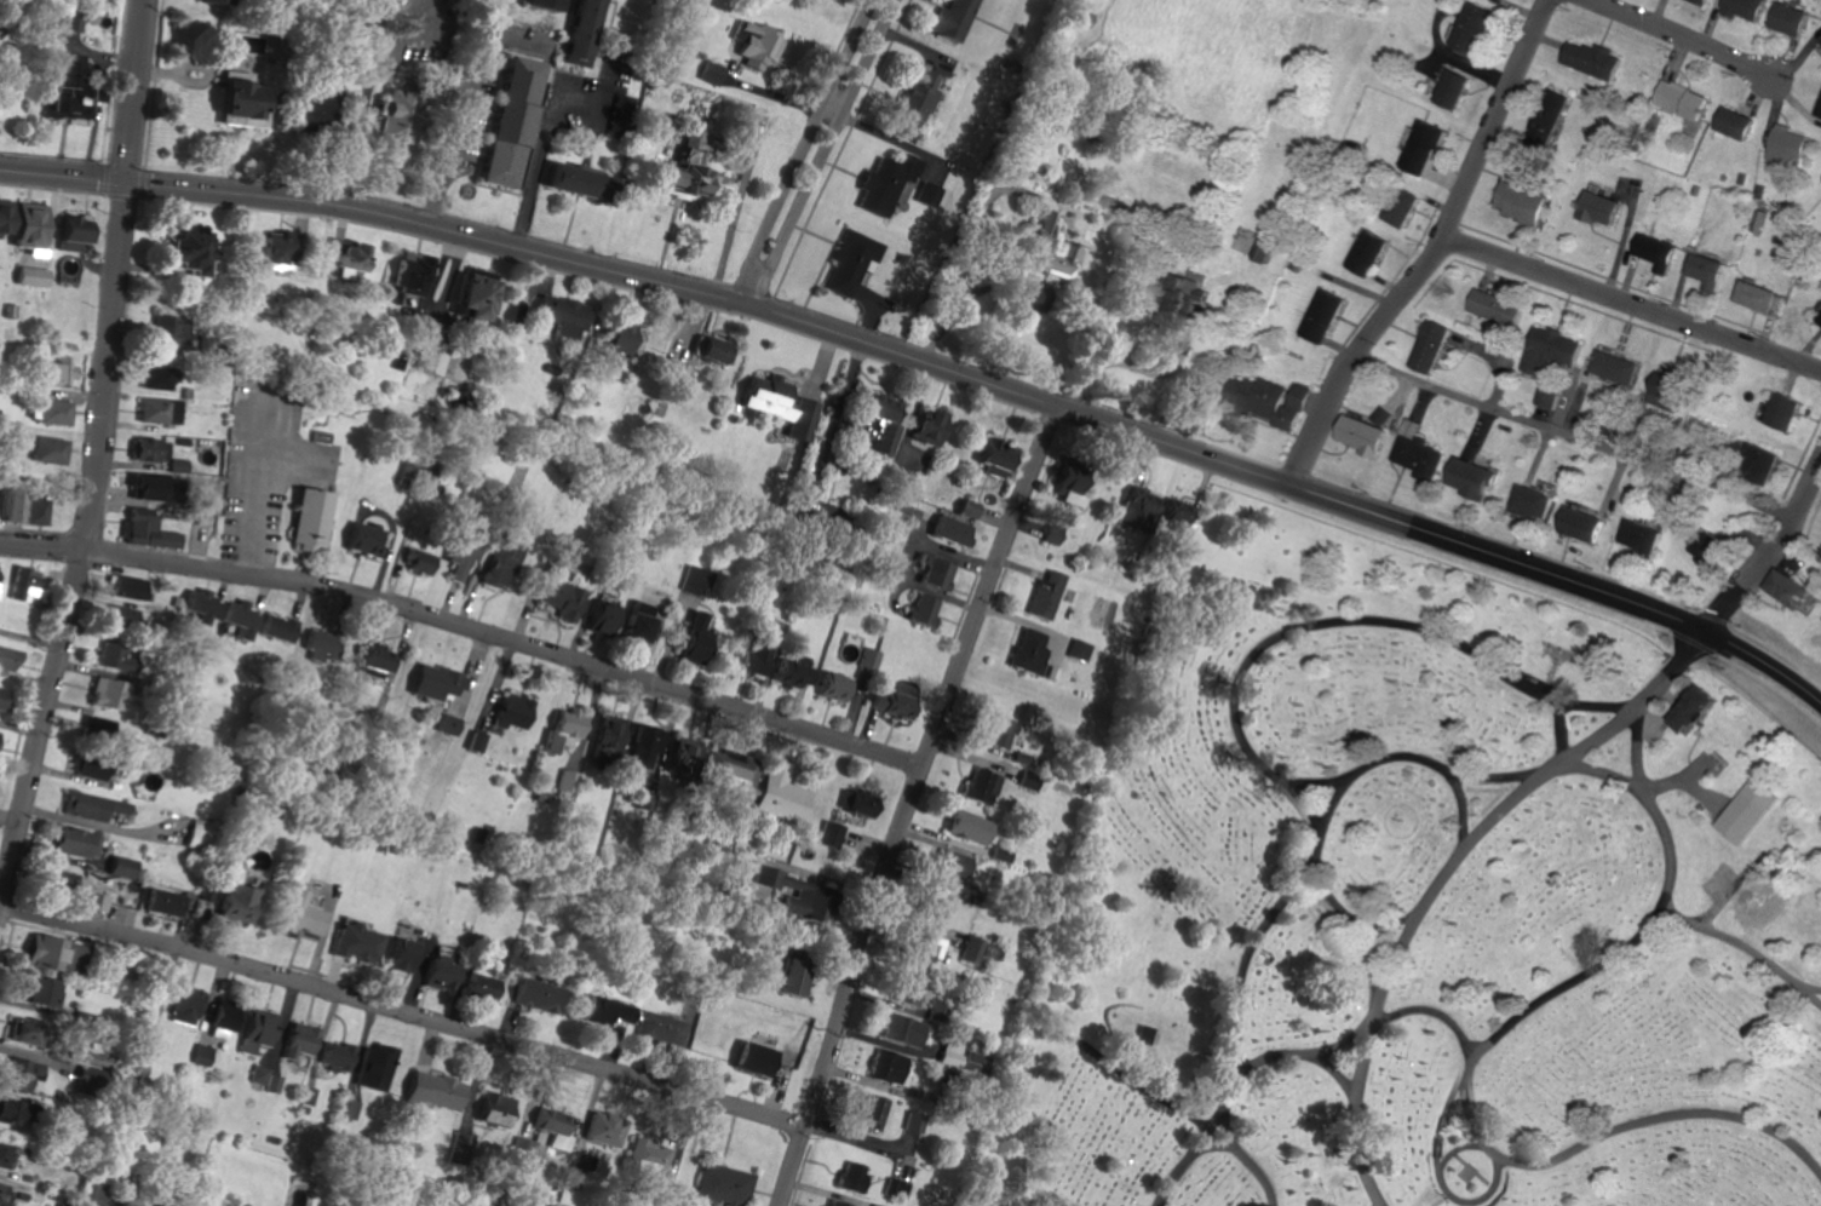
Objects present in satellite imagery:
building: (216, 0)
building: (1700, 1)
building: (536, 4)
building: (1744, 8)
building: (1076, 17)
building: (949, 19)
building: (1790, 19)
building: (68, 22)
building: (1469, 30)
building: (571, 31)
building: (749, 41)
road: (515, 42)
road: (1681, 42)
building: (1591, 59)
building: (705, 71)
building: (58, 88)
building: (1448, 90)
road: (136, 91)
building: (619, 97)
building: (912, 97)
building: (1681, 99)
building: (301, 108)
road: (832, 111)
building: (1819, 111)
building: (385, 114)
road: (459, 114)
building: (1547, 115)
building: (504, 119)
building: (1735, 124)
building: (1787, 147)
building: (1418, 148)
road: (804, 151)
road: (823, 153)
building: (677, 165)
road: (534, 170)
building: (562, 178)
building: (881, 182)
building: (925, 194)
building: (1520, 202)
building: (1397, 206)
building: (1599, 207)
building: (1, 213)
building: (22, 224)
building: (64, 231)
building: (179, 246)
building: (265, 247)
building: (1044, 247)
building: (1258, 251)
road: (1435, 251)
building: (1655, 251)
building: (1363, 252)
building: (341, 257)
building: (849, 260)
building: (1705, 269)
building: (404, 271)
building: (29, 276)
building: (466, 294)
building: (1753, 295)
building: (1171, 301)
road: (1632, 304)
building: (1492, 308)
building: (556, 314)
building: (1321, 315)
building: (1819, 318)
building: (165, 332)
building: (610, 335)
road: (864, 341)
building: (1426, 345)
building: (705, 348)
building: (1546, 349)
road: (1121, 360)
building: (1613, 367)
building: (56, 372)
building: (680, 372)
building: (153, 375)
building: (1659, 387)
building: (1544, 398)
building: (1266, 400)
building: (777, 404)
building: (150, 409)
building: (51, 410)
building: (172, 410)
building: (1780, 412)
building: (1380, 415)
building: (872, 420)
building: (924, 425)
building: (1360, 435)
building: (317, 437)
road: (1574, 438)
building: (46, 449)
building: (147, 449)
building: (990, 456)
building: (1418, 456)
building: (1757, 463)
building: (178, 465)
building: (897, 477)
building: (1467, 477)
building: (143, 487)
building: (1067, 487)
building: (1529, 502)
building: (10, 504)
building: (966, 507)
building: (1130, 507)
building: (35, 510)
building: (1171, 513)
building: (304, 517)
building: (1580, 524)
building: (138, 526)
building: (948, 529)
building: (1051, 533)
building: (1639, 536)
building: (358, 538)
building: (166, 539)
building: (1705, 545)
building: (455, 555)
road: (1768, 555)
road: (86, 561)
building: (412, 561)
building: (495, 562)
building: (934, 573)
building: (690, 579)
building: (21, 584)
building: (126, 586)
building: (1785, 588)
building: (1046, 595)
building: (557, 599)
building: (197, 604)
building: (921, 609)
building: (120, 616)
building: (594, 616)
building: (239, 620)
building: (630, 622)
building: (274, 627)
road: (466, 630)
building: (689, 636)
building: (312, 643)
flagpole: (1552, 643)
flagpole: (1561, 645)
flagpole: (1569, 648)
building: (1081, 649)
building: (1029, 650)
building: (752, 655)
building: (110, 656)
building: (7, 657)
building: (868, 659)
building: (367, 660)
building: (787, 672)
road: (1662, 678)
building: (432, 680)
road: (1762, 683)
building: (832, 687)
building: (100, 693)
building: (1, 696)
building: (887, 700)
building: (1699, 710)
building: (510, 711)
road: (23, 722)
building: (94, 724)
building: (447, 724)
building: (558, 728)
building: (994, 730)
road: (1563, 734)
building: (599, 735)
building: (473, 741)
building: (639, 745)
building: (676, 752)
road: (1413, 759)
road: (1263, 760)
building: (88, 766)
road: (1605, 775)
building: (722, 777)
building: (1028, 780)
building: (563, 781)
building: (980, 786)
building: (777, 796)
building: (854, 802)
road: (909, 803)
building: (88, 805)
road: (1463, 811)
building: (1748, 811)
flagpole: (1403, 819)
building: (969, 826)
road: (1483, 829)
building: (828, 834)
building: (73, 842)
building: (1001, 851)
building: (952, 862)
building: (119, 867)
building: (62, 881)
building: (794, 894)
park: (1426, 900)
building: (93, 901)
building: (163, 902)
building: (234, 902)
building: (931, 903)
building: (299, 914)
road: (1361, 931)
road: (1727, 938)
building: (356, 941)
building: (921, 949)
building: (972, 951)
building: (40, 952)
building: (400, 955)
building: (440, 972)
building: (768, 976)
building: (787, 980)
road: (1793, 981)
building: (477, 986)
building: (33, 990)
building: (904, 990)
building: (534, 994)
building: (183, 1005)
building: (602, 1010)
road: (1431, 1012)
building: (220, 1013)
road: (402, 1013)
building: (19, 1029)
building: (255, 1029)
building: (655, 1029)
building: (903, 1030)
building: (1144, 1034)
building: (301, 1040)
building: (202, 1053)
road: (1304, 1053)
building: (338, 1056)
building: (960, 1057)
road: (1363, 1057)
building: (746, 1058)
building: (96, 1059)
road: (1467, 1064)
building: (884, 1066)
building: (374, 1067)
building: (17, 1073)
building: (259, 1074)
building: (94, 1075)
building: (275, 1084)
building: (432, 1091)
building: (351, 1109)
building: (492, 1109)
building: (7, 1110)
building: (868, 1112)
building: (909, 1124)
building: (551, 1127)
building: (602, 1130)
road: (1225, 1148)
building: (521, 1152)
building: (2, 1154)
road: (1459, 1154)
road: (1251, 1159)
building: (649, 1161)
road: (1444, 1175)
building: (848, 1176)
building: (722, 1184)
building: (898, 1188)
building: (90, 1194)
building: (835, 1202)

